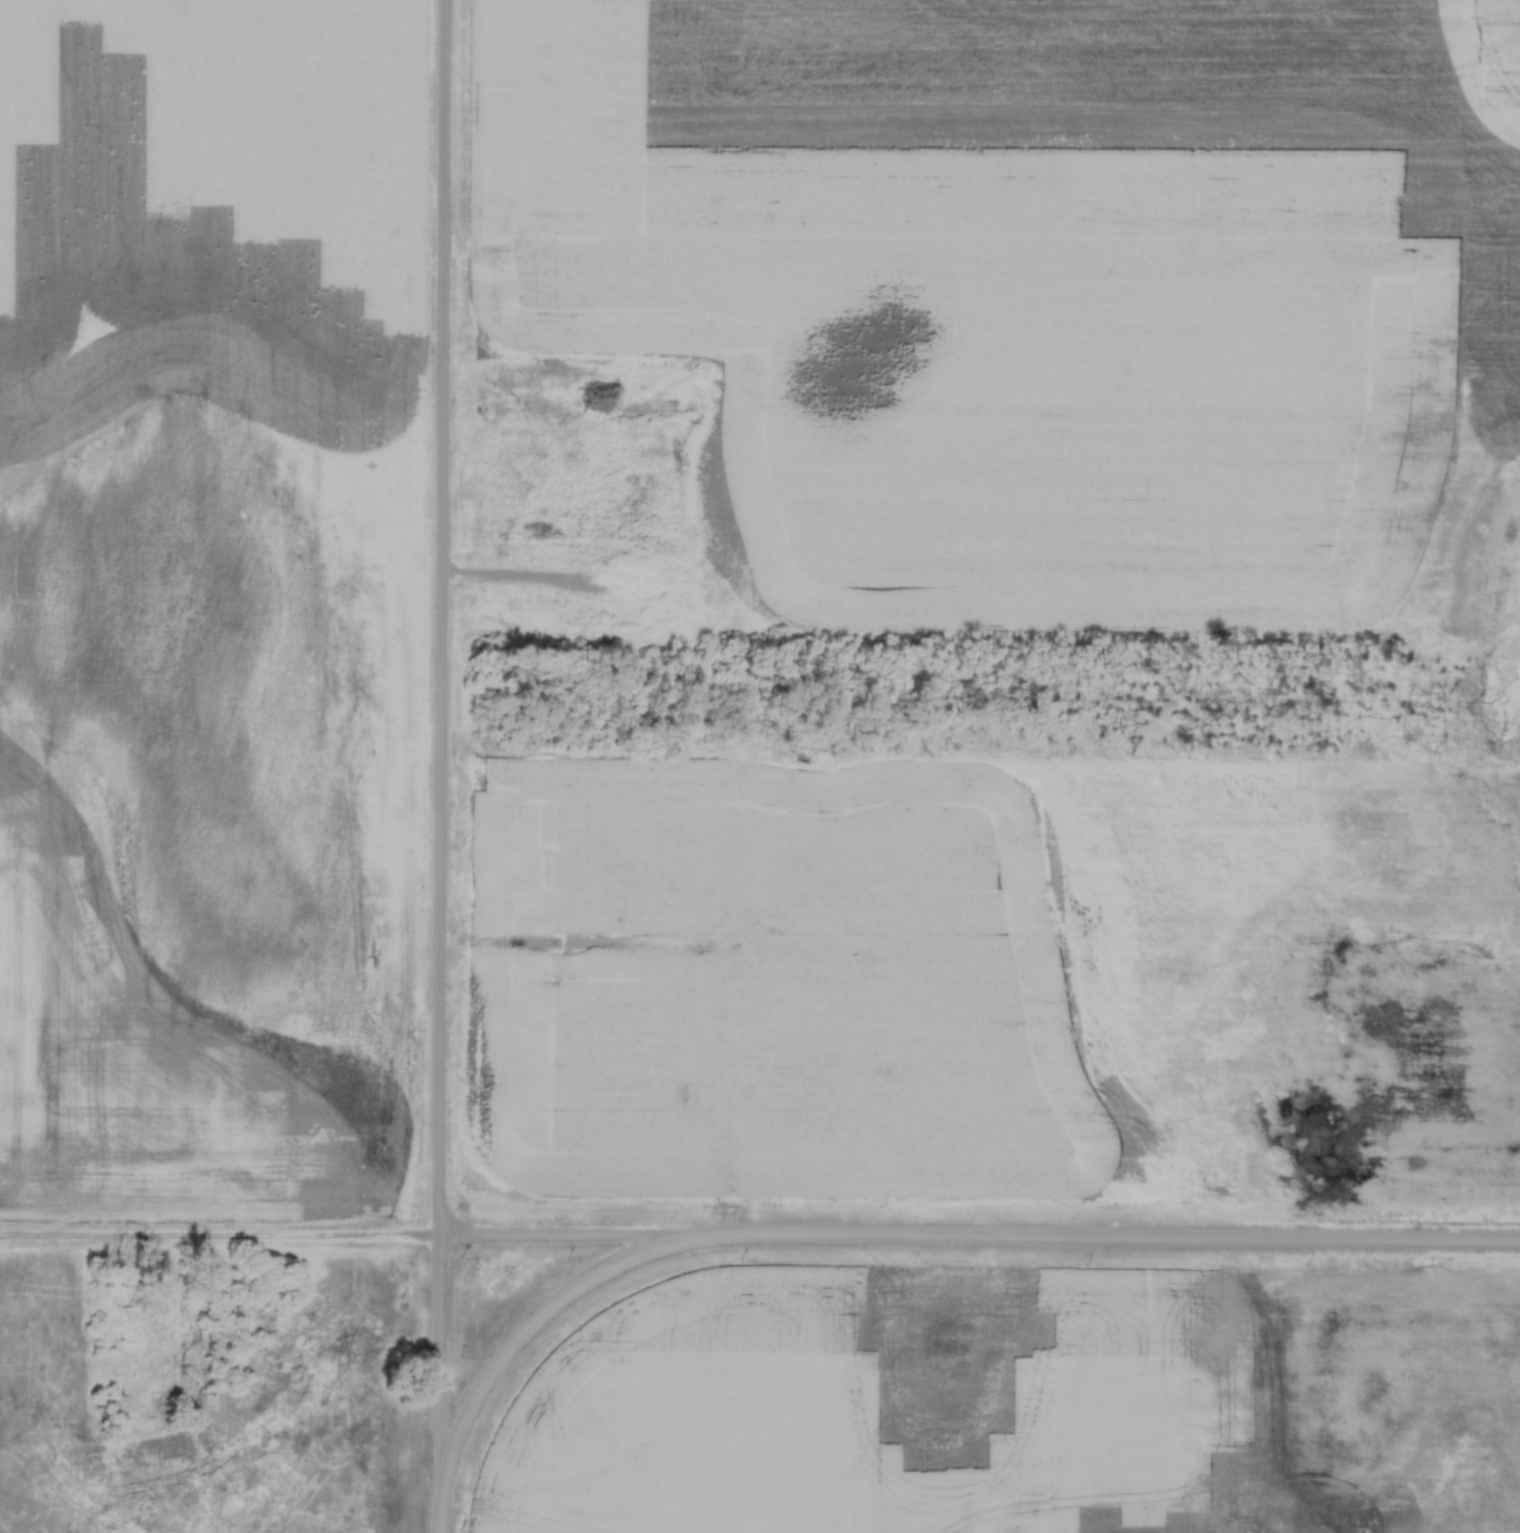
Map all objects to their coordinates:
building: (627, 571)
road: (438, 766)
road: (760, 1236)
road: (516, 1341)

